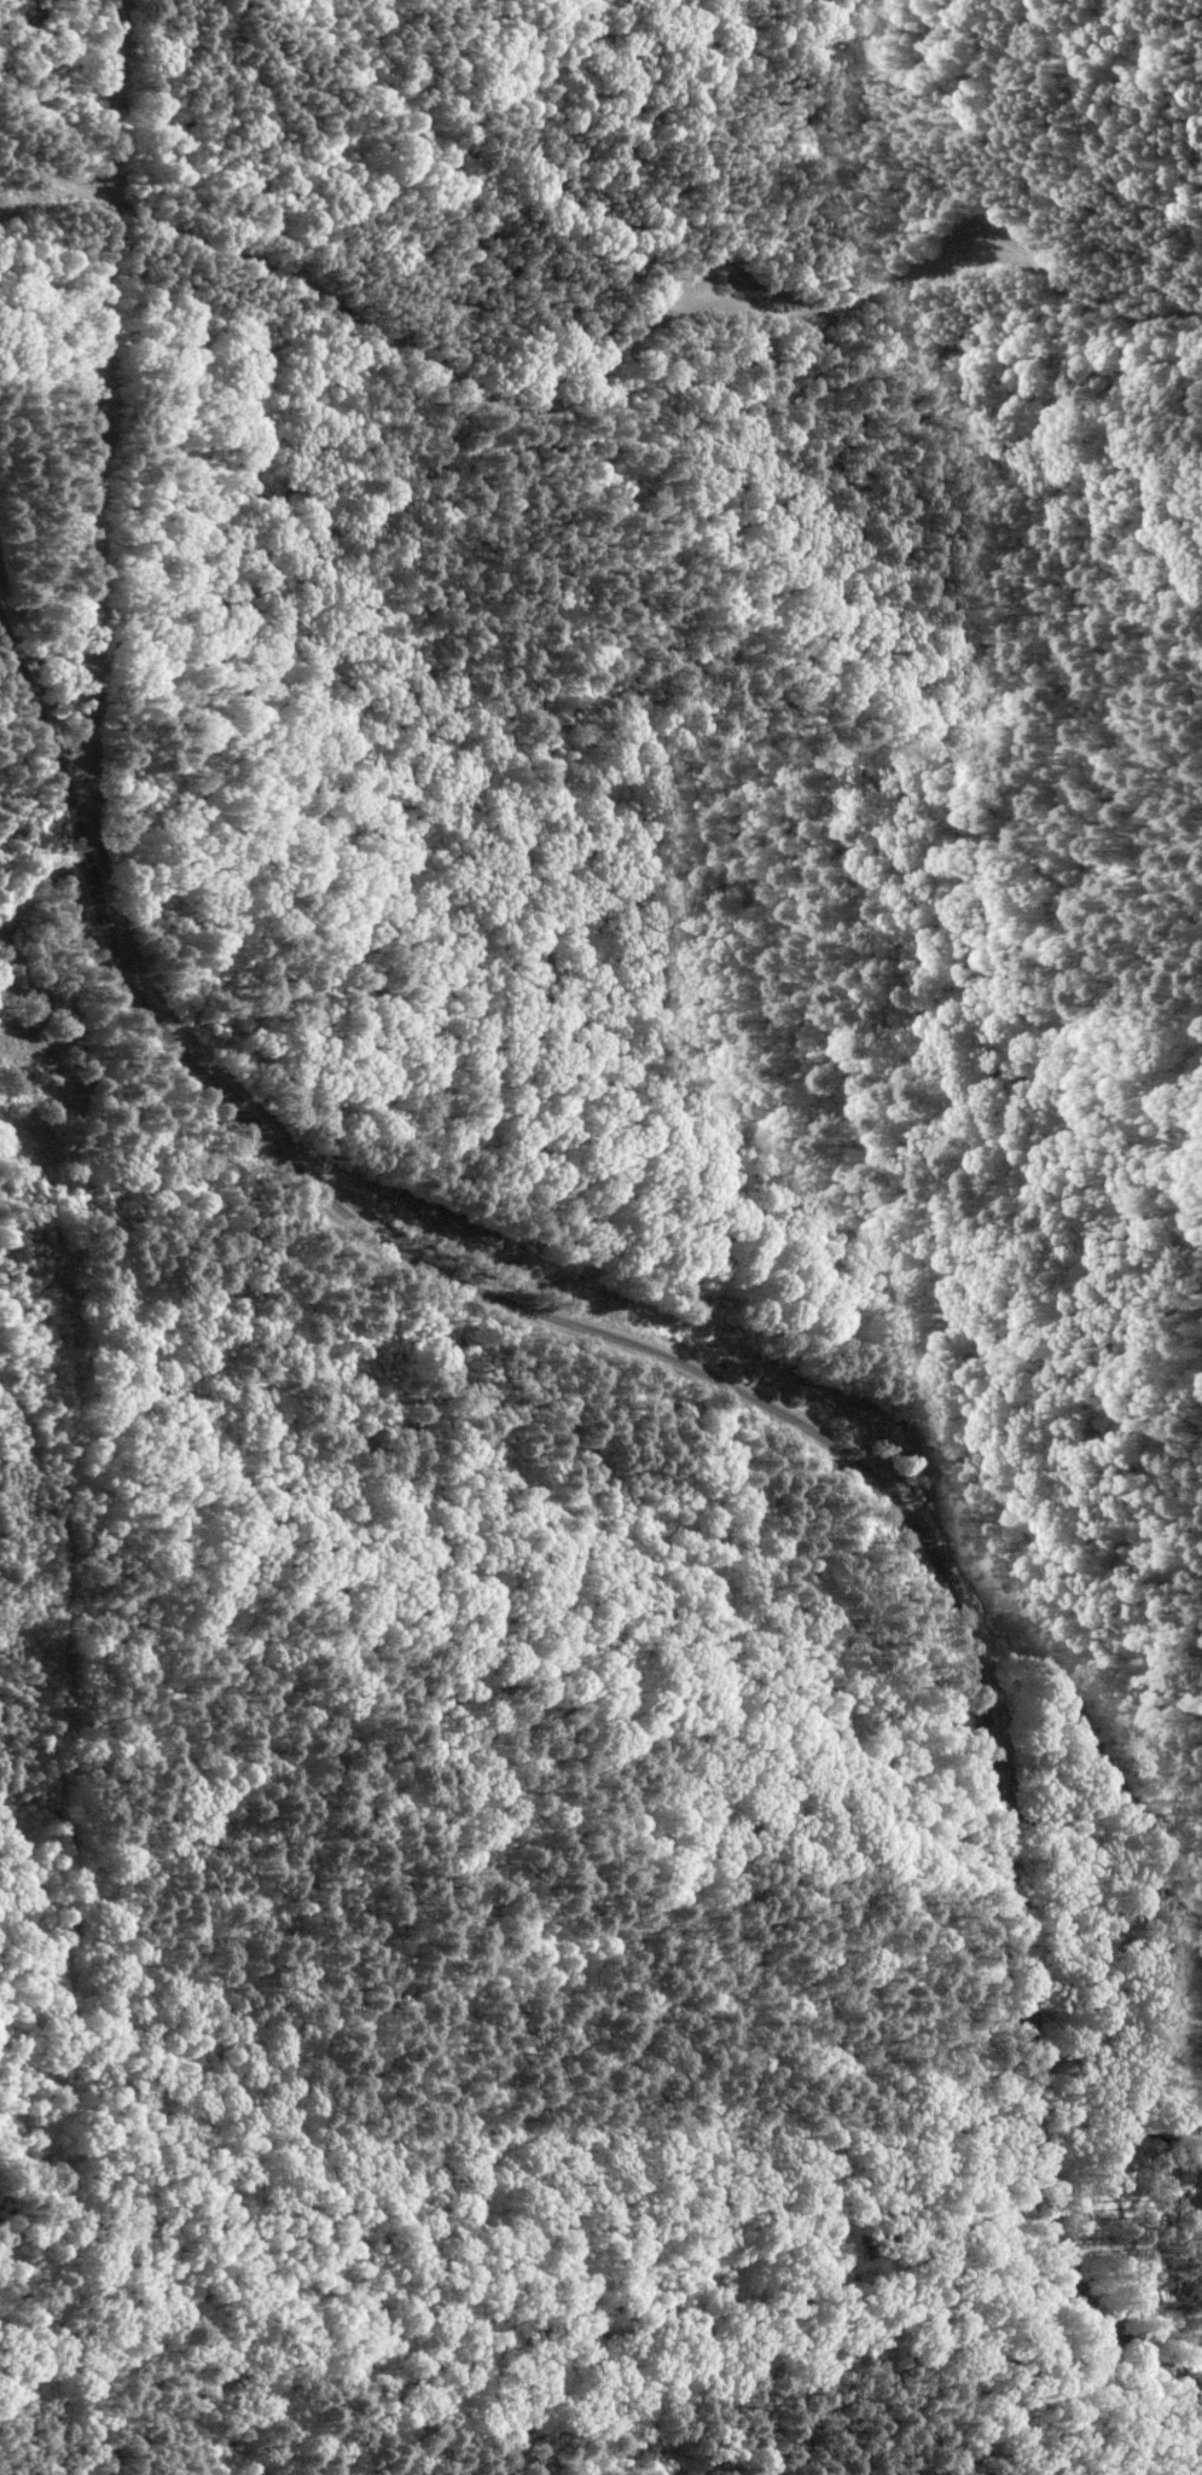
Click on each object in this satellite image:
road: (180, 147)
road: (767, 1405)

